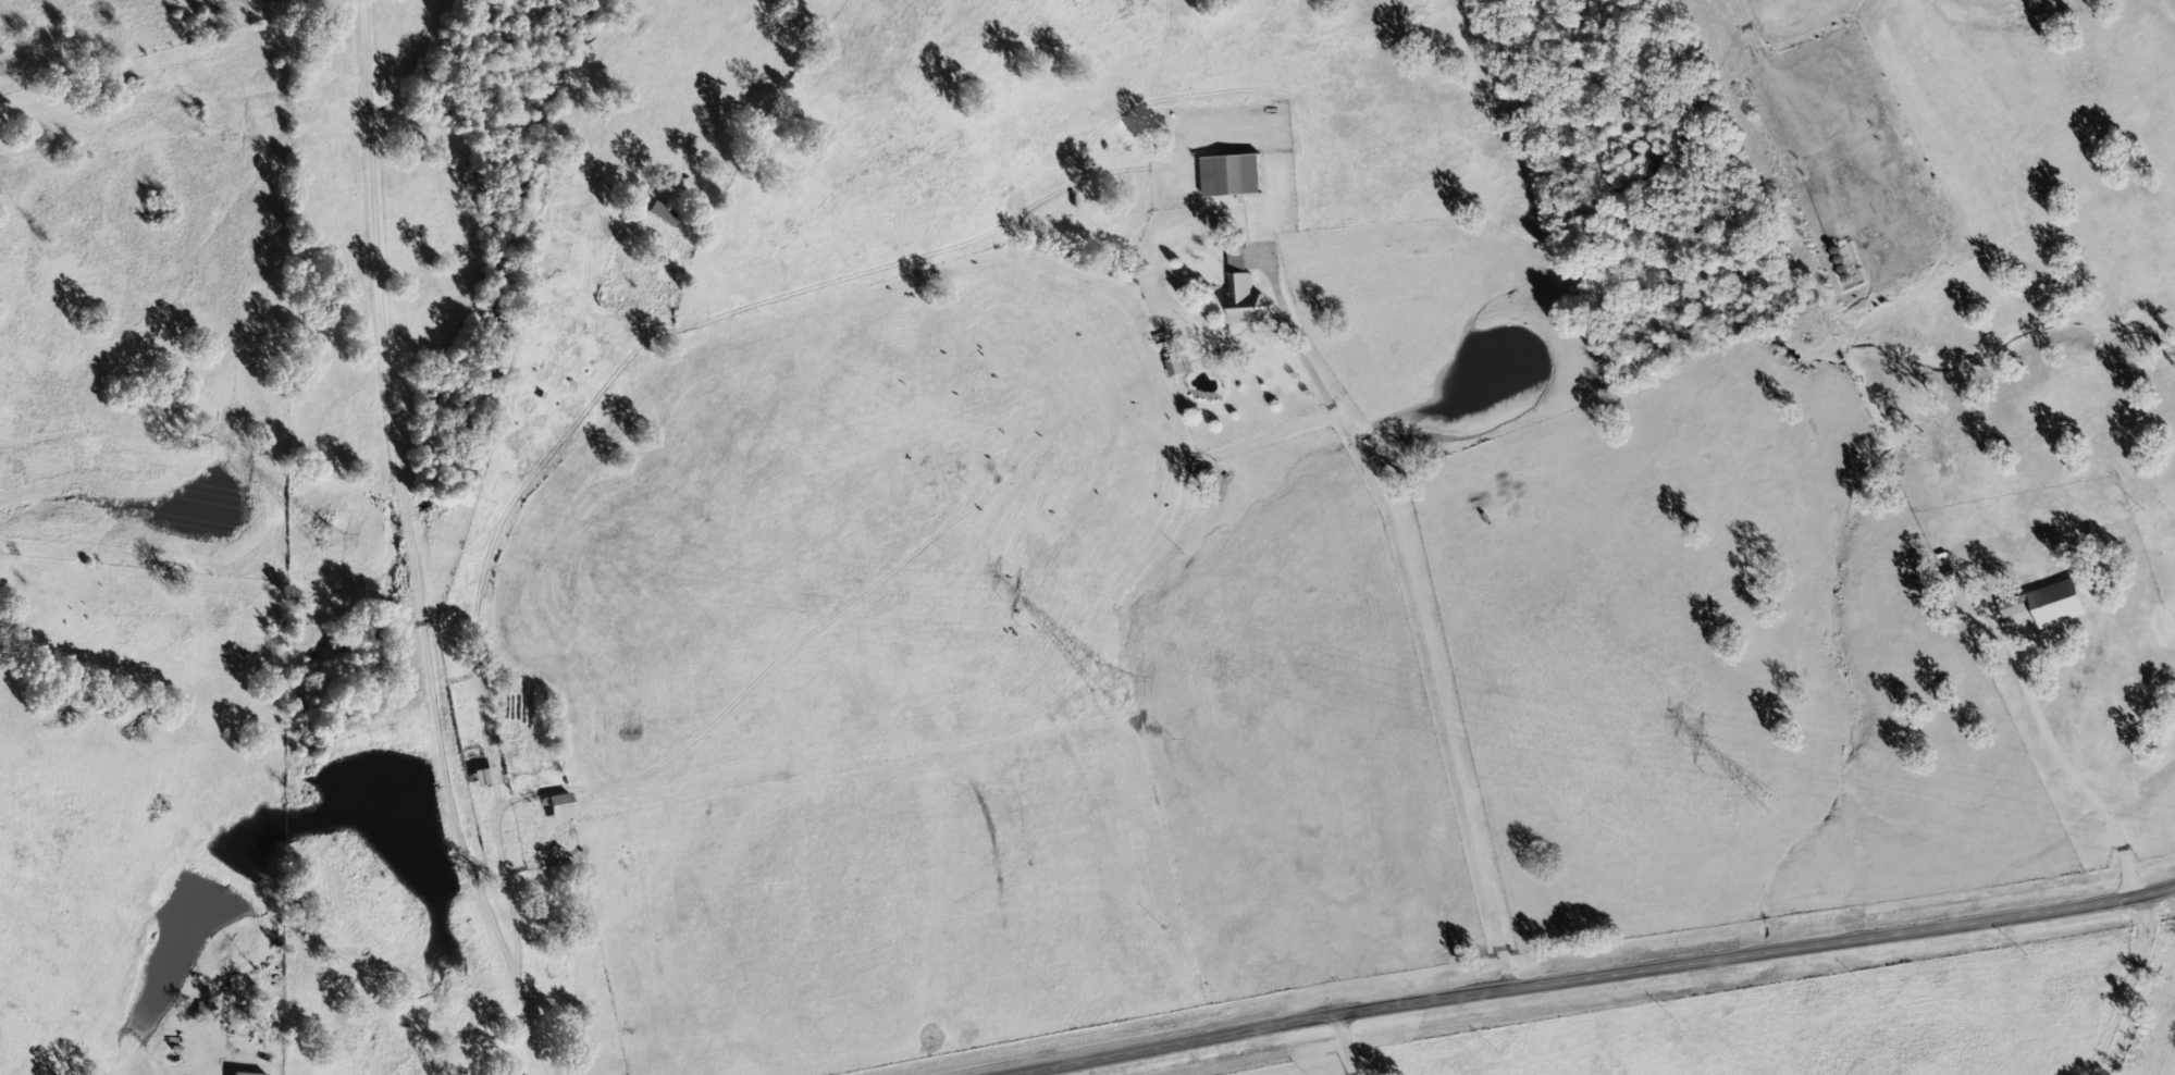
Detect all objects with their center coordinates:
building: (1232, 176)
building: (663, 215)
building: (1243, 288)
building: (1177, 368)
power tower: (322, 533)
road: (1420, 603)
power tower: (1124, 680)
building: (484, 778)
power tower: (1767, 800)
building: (559, 810)
road: (1590, 976)
building: (249, 1074)

